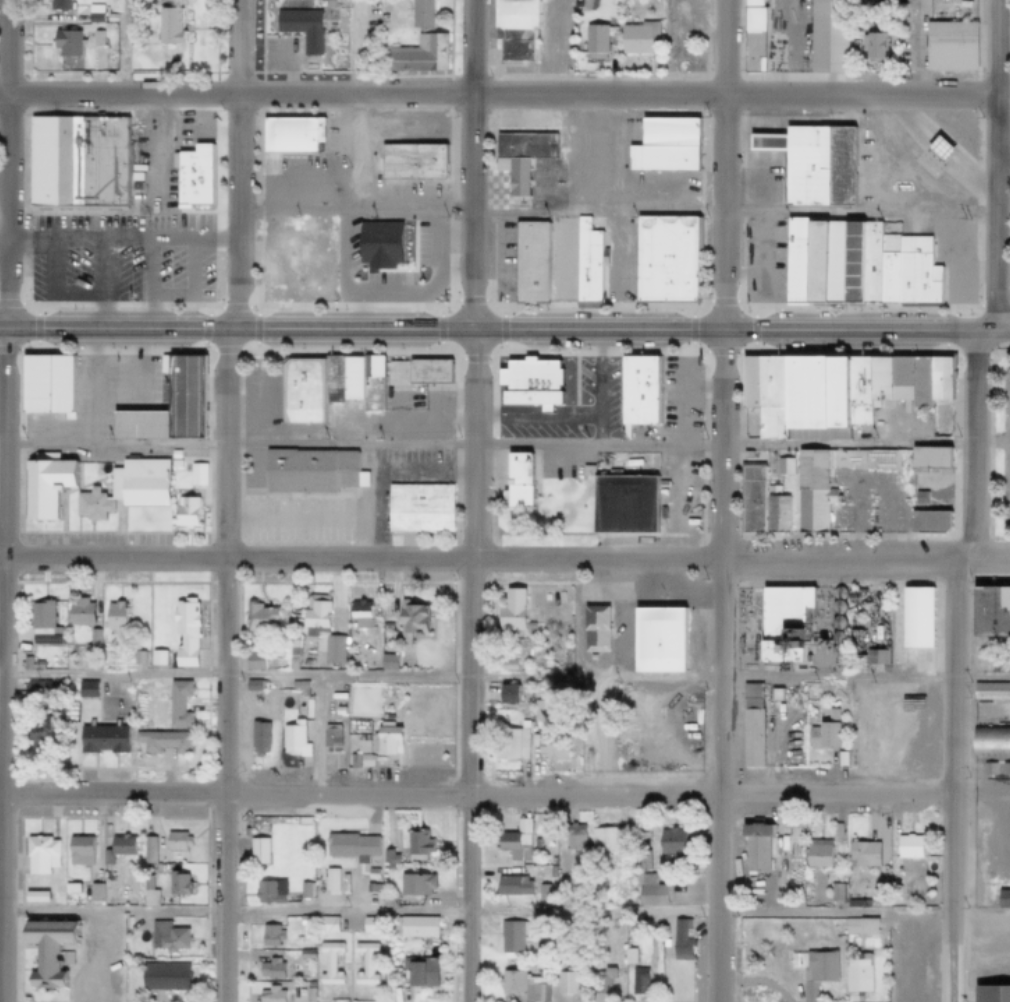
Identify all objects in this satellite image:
building: (86, 1)
building: (867, 2)
road: (957, 2)
building: (56, 5)
parking lot: (950, 9)
building: (419, 13)
building: (621, 13)
building: (92, 14)
building: (108, 18)
building: (295, 21)
building: (166, 25)
building: (513, 29)
building: (751, 36)
building: (826, 36)
building: (637, 39)
building: (95, 40)
parking lot: (548, 40)
building: (594, 40)
building: (63, 43)
building: (870, 45)
building: (948, 46)
road: (123, 47)
road: (559, 47)
road: (795, 47)
road: (916, 47)
building: (775, 53)
parking lot: (289, 55)
building: (416, 55)
road: (288, 59)
road: (286, 76)
road: (498, 94)
road: (353, 105)
road: (750, 114)
road: (760, 114)
road: (773, 114)
road: (909, 115)
road: (897, 119)
road: (405, 124)
building: (288, 134)
road: (195, 139)
road: (750, 142)
road: (760, 142)
road: (773, 142)
road: (940, 143)
building: (663, 145)
building: (937, 147)
road: (760, 152)
road: (933, 152)
road: (1003, 155)
building: (519, 157)
building: (75, 161)
building: (409, 161)
road: (750, 161)
road: (236, 164)
building: (811, 164)
road: (6, 165)
road: (473, 165)
road: (722, 166)
parking lot: (865, 166)
road: (997, 166)
road: (754, 172)
road: (973, 172)
building: (191, 176)
road: (489, 176)
road: (516, 176)
road: (570, 176)
parking lot: (761, 178)
road: (299, 183)
road: (969, 184)
road: (489, 190)
road: (516, 190)
road: (533, 190)
road: (541, 194)
road: (615, 198)
parking lot: (594, 199)
road: (507, 203)
parking lot: (119, 207)
parking lot: (352, 208)
road: (76, 209)
road: (153, 211)
road: (616, 212)
road: (761, 227)
building: (364, 236)
road: (3, 241)
road: (121, 241)
parking lot: (945, 254)
road: (422, 256)
parking lot: (762, 259)
building: (555, 260)
building: (665, 260)
building: (856, 265)
building: (387, 279)
road: (191, 284)
road: (101, 285)
road: (52, 290)
road: (498, 331)
road: (1003, 332)
road: (93, 366)
building: (367, 366)
building: (416, 371)
building: (528, 382)
building: (43, 384)
building: (315, 386)
building: (833, 391)
building: (636, 392)
parking lot: (678, 398)
road: (254, 400)
road: (127, 401)
parking lot: (264, 401)
building: (169, 403)
parking lot: (93, 407)
parking lot: (567, 408)
road: (520, 411)
road: (543, 411)
parking lot: (392, 412)
road: (565, 412)
road: (579, 419)
parking lot: (893, 425)
road: (599, 431)
road: (56, 432)
road: (505, 442)
road: (972, 446)
building: (928, 457)
road: (554, 459)
road: (681, 461)
parking lot: (554, 465)
building: (174, 466)
building: (782, 466)
road: (422, 470)
building: (585, 470)
building: (308, 471)
road: (864, 474)
parking lot: (401, 476)
building: (515, 480)
building: (43, 484)
road: (943, 485)
building: (125, 489)
building: (810, 491)
parking lot: (678, 493)
building: (918, 499)
road: (373, 500)
building: (759, 504)
building: (622, 505)
building: (417, 508)
building: (183, 512)
road: (298, 516)
parking lot: (295, 519)
building: (927, 521)
parking lot: (99, 542)
road: (504, 563)
road: (592, 593)
building: (836, 593)
silo: (836, 593)
building: (835, 607)
silo: (835, 607)
building: (78, 612)
building: (990, 612)
building: (358, 614)
building: (112, 616)
building: (510, 616)
building: (258, 618)
road: (618, 618)
road: (821, 618)
building: (409, 621)
building: (835, 623)
silo: (835, 623)
building: (38, 624)
building: (783, 625)
building: (909, 627)
building: (593, 629)
building: (183, 632)
building: (320, 632)
parking lot: (637, 635)
building: (91, 637)
building: (869, 637)
building: (834, 638)
silo: (834, 638)
building: (655, 640)
building: (834, 652)
silo: (834, 652)
building: (351, 653)
building: (252, 660)
building: (362, 662)
building: (385, 662)
building: (28, 664)
building: (105, 664)
road: (2, 665)
building: (41, 665)
building: (157, 665)
road: (223, 665)
building: (401, 665)
building: (505, 665)
road: (469, 666)
road: (719, 667)
road: (505, 674)
building: (252, 686)
building: (300, 687)
building: (85, 690)
building: (340, 690)
building: (33, 692)
building: (812, 692)
building: (990, 692)
building: (505, 695)
building: (774, 695)
building: (177, 704)
building: (542, 711)
building: (297, 713)
road: (992, 715)
building: (750, 726)
building: (36, 734)
building: (822, 734)
building: (256, 737)
building: (292, 739)
building: (329, 739)
building: (100, 740)
building: (385, 740)
building: (990, 740)
building: (161, 742)
road: (659, 742)
building: (509, 744)
building: (360, 749)
building: (550, 749)
road: (768, 752)
building: (840, 759)
building: (364, 761)
building: (351, 762)
building: (986, 770)
building: (1004, 770)
road: (951, 781)
road: (475, 794)
road: (980, 795)
building: (533, 829)
building: (835, 830)
building: (513, 841)
building: (570, 841)
building: (602, 841)
building: (174, 842)
building: (416, 843)
building: (670, 844)
building: (349, 846)
building: (754, 846)
building: (909, 847)
building: (113, 848)
building: (78, 851)
building: (147, 851)
building: (256, 851)
building: (38, 854)
building: (860, 855)
building: (815, 856)
building: (388, 858)
building: (640, 861)
building: (891, 869)
building: (106, 882)
building: (175, 884)
building: (770, 884)
building: (63, 885)
building: (72, 885)
building: (412, 885)
building: (511, 886)
building: (146, 890)
building: (93, 892)
building: (647, 892)
building: (265, 893)
building: (833, 893)
building: (541, 894)
building: (33, 898)
building: (1002, 899)
building: (387, 900)
road: (504, 911)
building: (305, 921)
building: (325, 925)
building: (367, 926)
building: (411, 926)
building: (858, 926)
building: (268, 935)
building: (512, 936)
building: (165, 937)
building: (679, 940)
building: (45, 952)
building: (304, 955)
building: (627, 957)
building: (328, 964)
building: (363, 965)
building: (268, 970)
building: (812, 970)
building: (418, 971)
building: (386, 973)
building: (855, 974)
building: (162, 977)
building: (601, 981)
building: (637, 981)
building: (524, 982)
building: (564, 982)
building: (990, 994)
building: (268, 995)
building: (306, 996)

